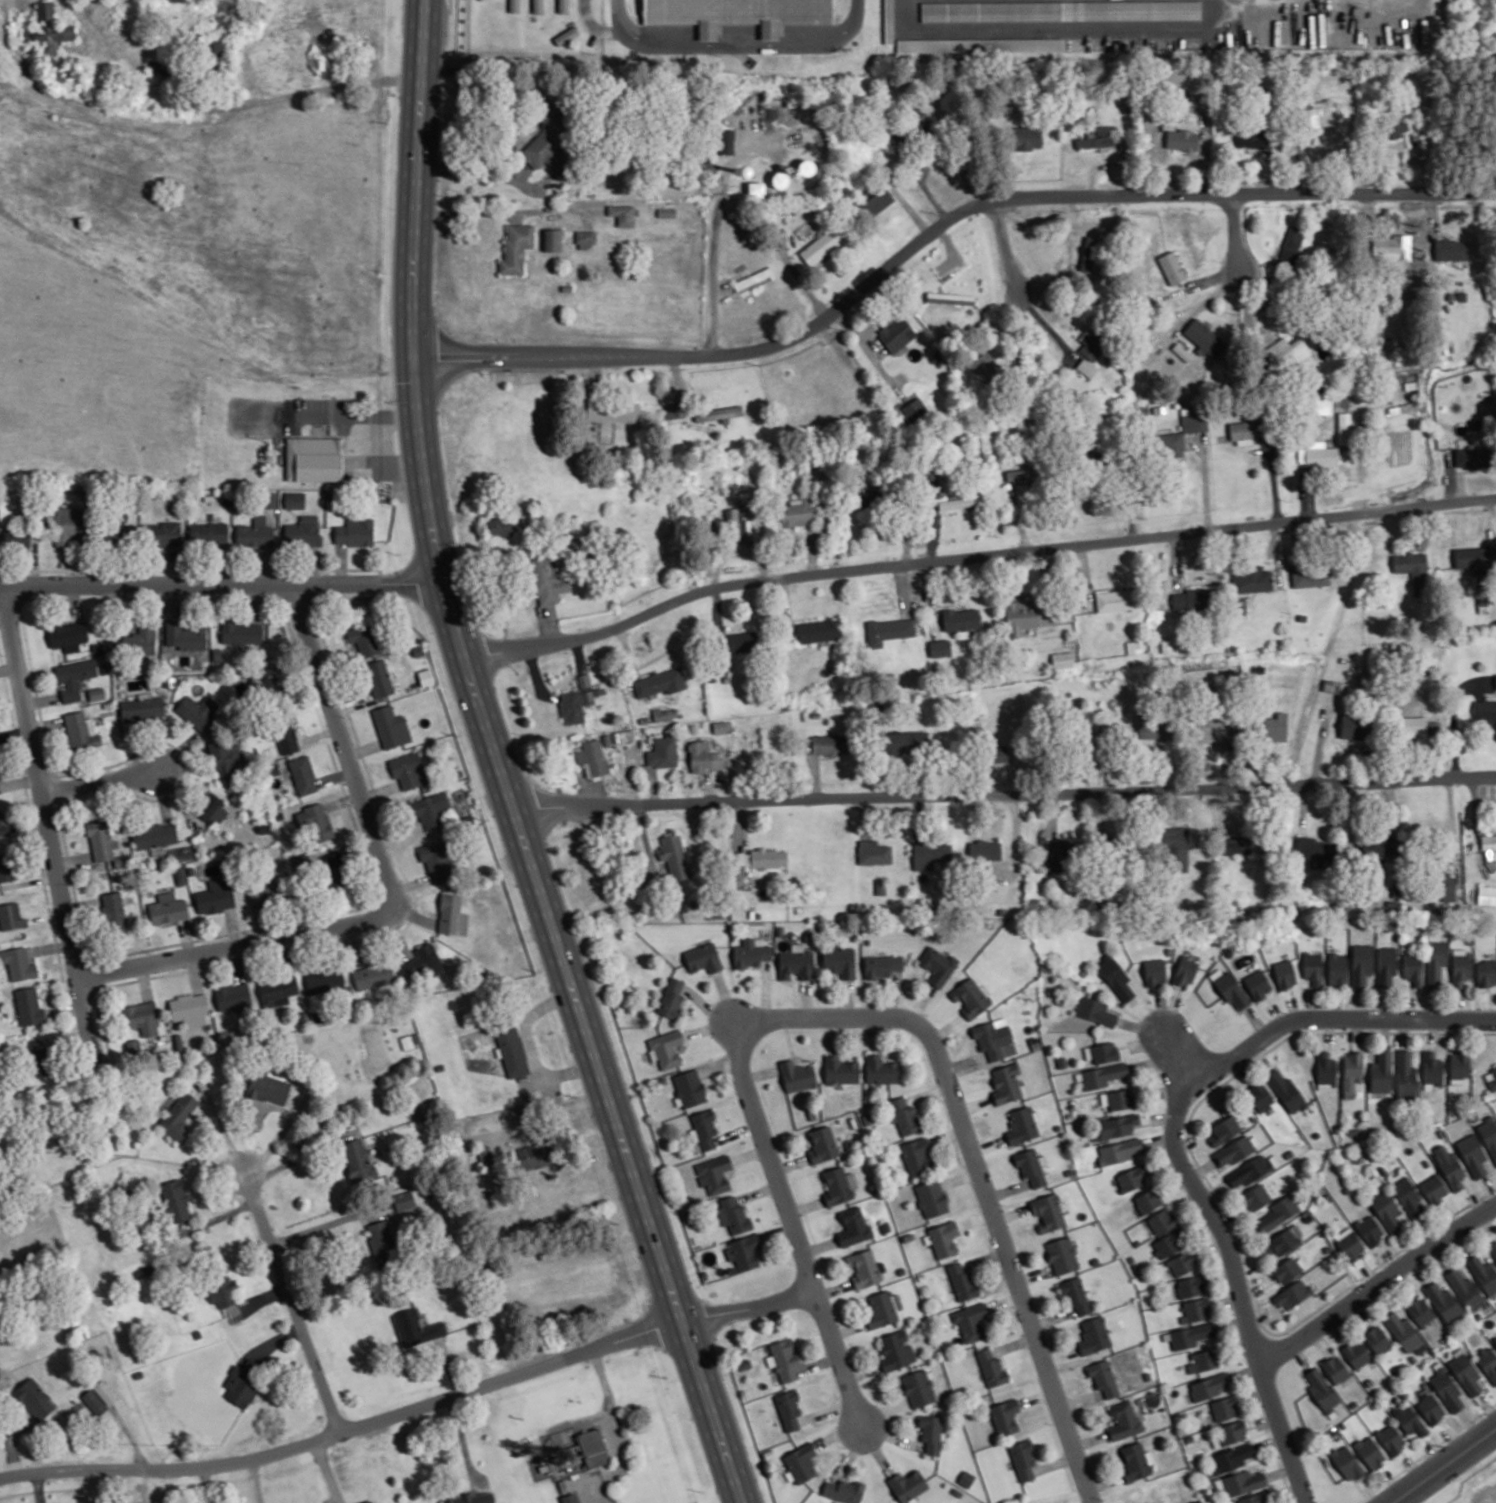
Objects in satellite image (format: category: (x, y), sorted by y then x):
building: (514, 5)
building: (537, 6)
building: (563, 6)
building: (1061, 10)
building: (736, 13)
road: (1320, 17)
building: (889, 21)
road: (1051, 26)
building: (50, 29)
road: (424, 33)
building: (566, 35)
road: (737, 41)
building: (979, 44)
building: (214, 49)
building: (1318, 114)
building: (919, 119)
building: (1394, 130)
building: (1023, 137)
building: (1250, 137)
building: (1097, 139)
building: (1181, 139)
building: (727, 140)
building: (547, 141)
building: (1110, 154)
road: (469, 172)
building: (779, 179)
building: (755, 188)
building: (876, 202)
building: (667, 212)
building: (623, 214)
road: (937, 228)
road: (1236, 233)
building: (552, 239)
building: (585, 239)
building: (823, 244)
building: (1291, 244)
building: (516, 247)
building: (1388, 247)
building: (1450, 249)
road: (1007, 252)
building: (1172, 267)
road: (713, 274)
building: (753, 278)
building: (950, 298)
building: (896, 334)
building: (1204, 338)
building: (1091, 345)
building: (1181, 351)
building: (1285, 352)
building: (984, 365)
building: (1087, 367)
building: (1323, 403)
building: (1402, 408)
building: (613, 409)
building: (675, 410)
building: (914, 410)
building: (718, 412)
building: (1193, 420)
building: (1343, 428)
building: (1243, 431)
building: (1167, 445)
building: (1317, 454)
building: (1470, 457)
building: (314, 458)
building: (1022, 474)
building: (269, 499)
building: (295, 500)
building: (960, 502)
building: (796, 512)
building: (68, 524)
building: (735, 525)
building: (500, 526)
building: (303, 531)
building: (208, 532)
building: (355, 532)
building: (255, 533)
building: (163, 534)
building: (113, 536)
building: (17, 537)
road: (975, 556)
building: (1470, 558)
building: (1413, 570)
street lamp: (325, 571)
building: (1310, 576)
building: (1251, 579)
building: (547, 580)
road: (221, 584)
building: (1193, 599)
building: (1116, 600)
building: (1244, 603)
building: (1028, 615)
building: (961, 619)
building: (819, 630)
building: (889, 630)
building: (241, 632)
building: (68, 635)
building: (186, 635)
building: (364, 639)
building: (140, 641)
building: (741, 641)
building: (1134, 646)
building: (940, 647)
building: (1062, 659)
building: (425, 676)
building: (74, 677)
building: (379, 678)
building: (584, 680)
building: (1495, 680)
building: (660, 682)
building: (266, 684)
building: (1331, 685)
building: (97, 693)
building: (587, 697)
building: (142, 707)
building: (572, 707)
building: (199, 712)
building: (665, 714)
building: (1413, 725)
building: (391, 726)
building: (722, 726)
building: (1354, 726)
building: (1434, 726)
building: (1271, 727)
building: (1154, 728)
building: (1208, 729)
building: (81, 731)
building: (286, 737)
building: (903, 741)
building: (829, 744)
road: (364, 748)
building: (662, 752)
building: (997, 753)
building: (704, 756)
building: (225, 757)
building: (592, 757)
building: (409, 770)
building: (303, 774)
road: (336, 776)
road: (102, 783)
building: (0, 789)
road: (380, 790)
road: (1005, 795)
road: (510, 796)
road: (344, 800)
building: (429, 809)
building: (212, 810)
building: (315, 821)
building: (2, 824)
road: (49, 824)
building: (154, 837)
building: (101, 840)
building: (1488, 841)
building: (1236, 844)
building: (1174, 847)
building: (1379, 847)
building: (1313, 848)
building: (985, 849)
building: (873, 852)
building: (931, 853)
building: (1059, 855)
building: (674, 856)
building: (306, 859)
building: (438, 859)
building: (756, 860)
building: (8, 865)
building: (334, 877)
road: (31, 880)
street lamp: (70, 883)
building: (1447, 887)
building: (264, 892)
building: (1486, 895)
building: (215, 896)
building: (1057, 897)
road: (390, 898)
building: (168, 908)
building: (114, 911)
building: (452, 915)
building: (11, 916)
road: (48, 916)
road: (233, 926)
road: (186, 938)
road: (51, 946)
building: (1267, 948)
street lamp: (149, 951)
building: (751, 952)
building: (1228, 952)
building: (703, 958)
building: (424, 960)
building: (840, 961)
building: (1436, 961)
building: (796, 962)
building: (18, 963)
building: (1361, 963)
building: (937, 965)
building: (1386, 965)
building: (882, 966)
building: (1461, 966)
building: (1313, 968)
building: (1413, 968)
building: (1337, 969)
building: (1154, 971)
building: (1184, 971)
road: (195, 973)
building: (1284, 973)
building: (1486, 973)
building: (373, 975)
building: (1115, 977)
building: (325, 980)
road: (145, 981)
building: (1256, 984)
building: (277, 988)
building: (1231, 991)
building: (233, 997)
building: (671, 998)
road: (848, 998)
building: (970, 998)
building: (29, 1006)
building: (1095, 1010)
street lamp: (926, 1013)
road: (855, 1016)
building: (141, 1017)
road: (1340, 1017)
road: (1256, 1020)
street lamp: (1446, 1028)
road: (1434, 1029)
road: (831, 1033)
road: (873, 1033)
building: (994, 1038)
road: (788, 1039)
building: (666, 1048)
building: (511, 1050)
building: (1101, 1051)
road: (1184, 1056)
road: (925, 1060)
building: (1326, 1067)
building: (1432, 1067)
building: (1458, 1067)
building: (880, 1069)
building: (1352, 1069)
building: (840, 1070)
road: (760, 1072)
building: (1381, 1072)
building: (1406, 1073)
building: (797, 1075)
building: (1102, 1075)
building: (1491, 1078)
building: (1005, 1082)
building: (690, 1087)
building: (268, 1089)
building: (1286, 1091)
road: (929, 1093)
building: (1260, 1096)
building: (856, 1097)
building: (1120, 1097)
building: (179, 1115)
building: (905, 1115)
building: (867, 1118)
building: (852, 1121)
building: (1021, 1124)
building: (1117, 1124)
building: (705, 1128)
road: (223, 1129)
building: (1224, 1130)
road: (737, 1132)
road: (947, 1134)
building: (1489, 1135)
building: (822, 1144)
building: (1118, 1150)
building: (1234, 1151)
road: (297, 1153)
road: (749, 1153)
building: (916, 1155)
building: (1472, 1155)
building: (358, 1159)
building: (534, 1161)
road: (790, 1163)
building: (1030, 1166)
building: (1448, 1166)
building: (1249, 1171)
building: (714, 1173)
road: (959, 1176)
building: (1131, 1178)
building: (836, 1185)
building: (1433, 1188)
road: (1488, 1189)
road: (757, 1191)
building: (931, 1197)
building: (1256, 1197)
building: (1408, 1197)
building: (175, 1200)
building: (404, 1200)
building: (1147, 1200)
street lamp: (1003, 1203)
road: (805, 1205)
building: (1387, 1211)
building: (1047, 1212)
building: (1278, 1213)
building: (733, 1214)
road: (791, 1218)
road: (975, 1218)
street lamp: (778, 1220)
building: (1162, 1220)
road: (324, 1225)
building: (884, 1225)
building: (853, 1227)
building: (1370, 1230)
building: (906, 1236)
building: (380, 1237)
building: (944, 1238)
building: (1284, 1241)
building: (1349, 1244)
road: (818, 1245)
building: (1166, 1245)
building: (1493, 1247)
building: (744, 1251)
building: (1062, 1255)
road: (984, 1258)
building: (1183, 1263)
building: (862, 1268)
building: (900, 1269)
building: (1287, 1270)
road: (1013, 1272)
building: (1483, 1273)
building: (962, 1280)
road: (1239, 1283)
road: (1378, 1284)
building: (1190, 1286)
road: (833, 1288)
building: (1466, 1290)
building: (222, 1291)
building: (1293, 1294)
building: (1075, 1295)
road: (265, 1296)
road: (1004, 1301)
building: (1444, 1301)
road: (293, 1303)
building: (882, 1308)
building: (1196, 1309)
building: (1420, 1311)
building: (970, 1321)
building: (416, 1327)
road: (847, 1328)
building: (1403, 1331)
building: (1094, 1335)
building: (1191, 1335)
building: (1377, 1339)
building: (1495, 1340)
road: (273, 1341)
road: (1014, 1343)
building: (896, 1350)
building: (1357, 1353)
building: (783, 1359)
building: (1204, 1359)
building: (1488, 1363)
building: (991, 1367)
building: (1335, 1368)
building: (1466, 1374)
building: (1104, 1377)
building: (1210, 1385)
building: (918, 1388)
building: (1321, 1388)
building: (1446, 1389)
building: (240, 1390)
building: (105, 1392)
road: (1036, 1396)
building: (34, 1399)
building: (94, 1402)
building: (1430, 1406)
building: (1225, 1408)
building: (788, 1409)
road: (412, 1410)
building: (1005, 1416)
building: (1124, 1420)
building: (1409, 1420)
street lamp: (1053, 1422)
building: (1232, 1431)
building: (930, 1432)
road: (1453, 1440)
building: (1379, 1446)
building: (593, 1447)
road: (1433, 1454)
building: (1231, 1458)
building: (1023, 1459)
building: (1136, 1461)
building: (801, 1462)
road: (1054, 1462)
building: (1346, 1462)
road: (1443, 1464)
road: (328, 1472)
building: (966, 1479)
road: (1103, 1481)
building: (1242, 1482)
building: (907, 1485)
building: (843, 1490)
building: (471, 1498)
building: (570, 1498)
building: (1254, 1498)
building: (367, 1501)

